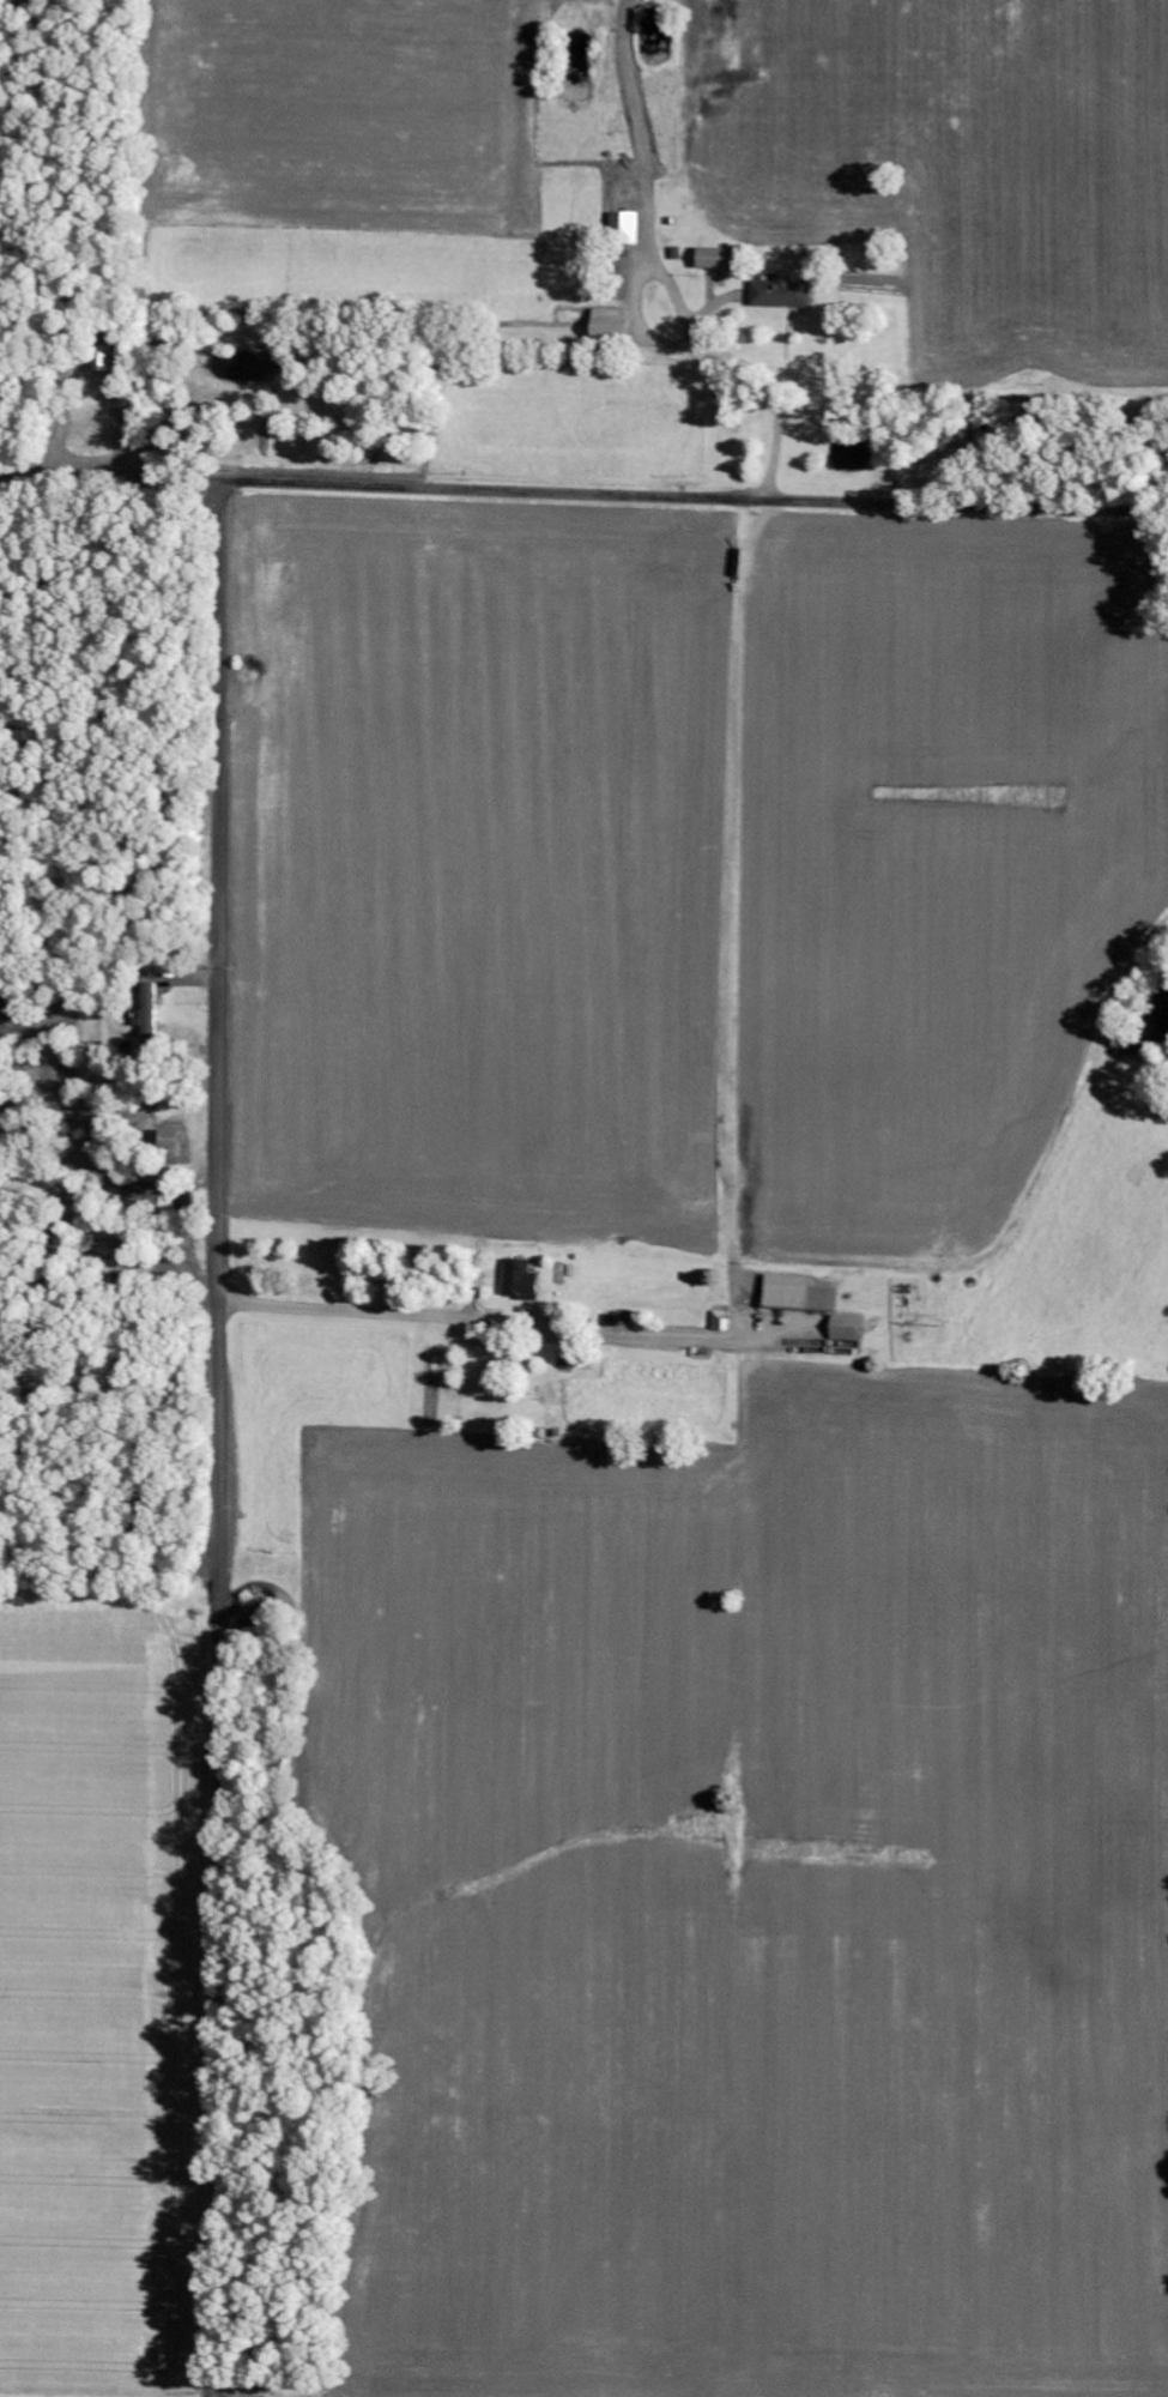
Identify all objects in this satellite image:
building: (625, 228)
building: (718, 259)
building: (782, 294)
building: (610, 326)
building: (104, 358)
road: (583, 495)
building: (149, 1013)
building: (168, 1141)
building: (520, 1279)
building: (797, 1294)
road: (369, 1320)
building: (845, 1327)
road: (218, 1438)

